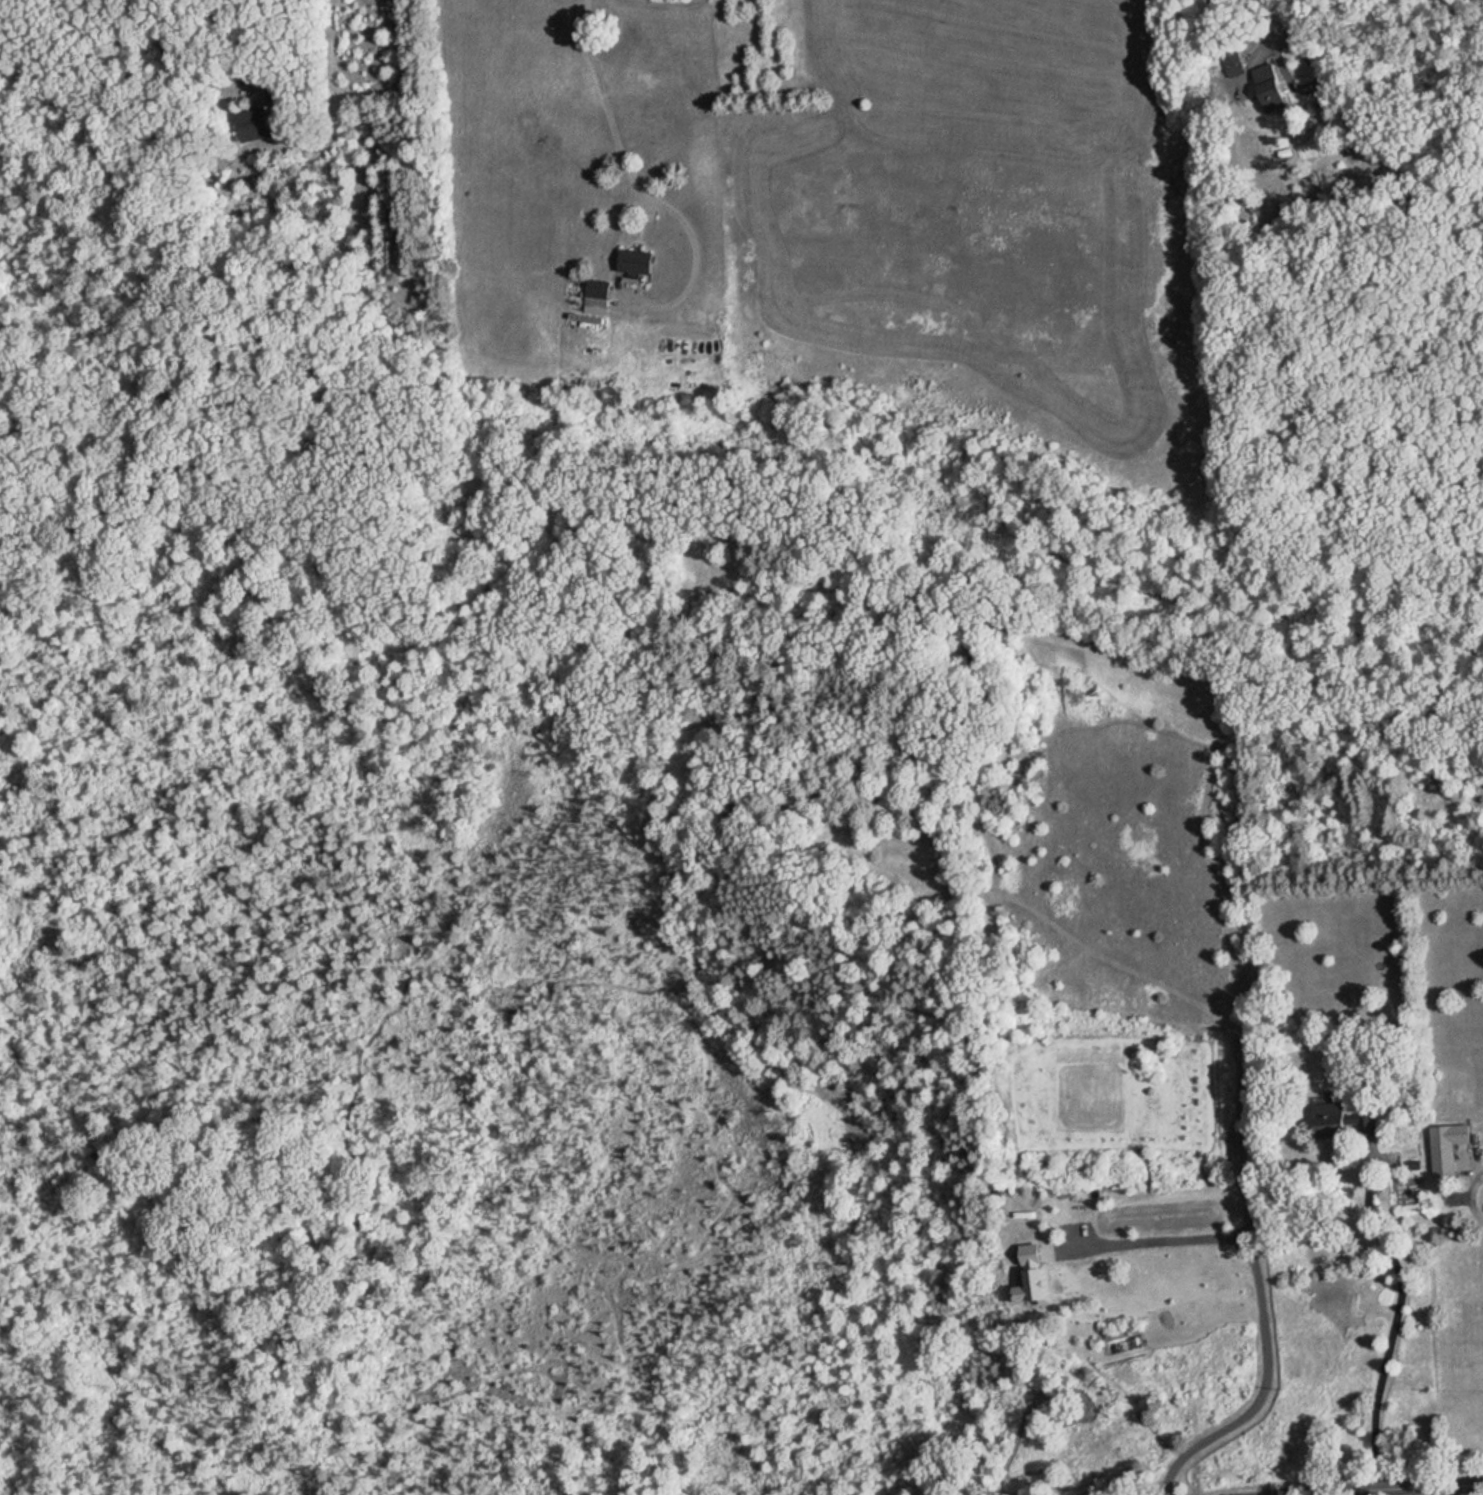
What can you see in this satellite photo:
road: (1279, 37)
road: (176, 63)
building: (1270, 86)
building: (277, 93)
building: (254, 124)
road: (638, 182)
building: (636, 259)
building: (601, 295)
park: (183, 974)
building: (1341, 1121)
building: (1448, 1147)
road: (1397, 1310)
road: (1261, 1311)
road: (1382, 1489)

